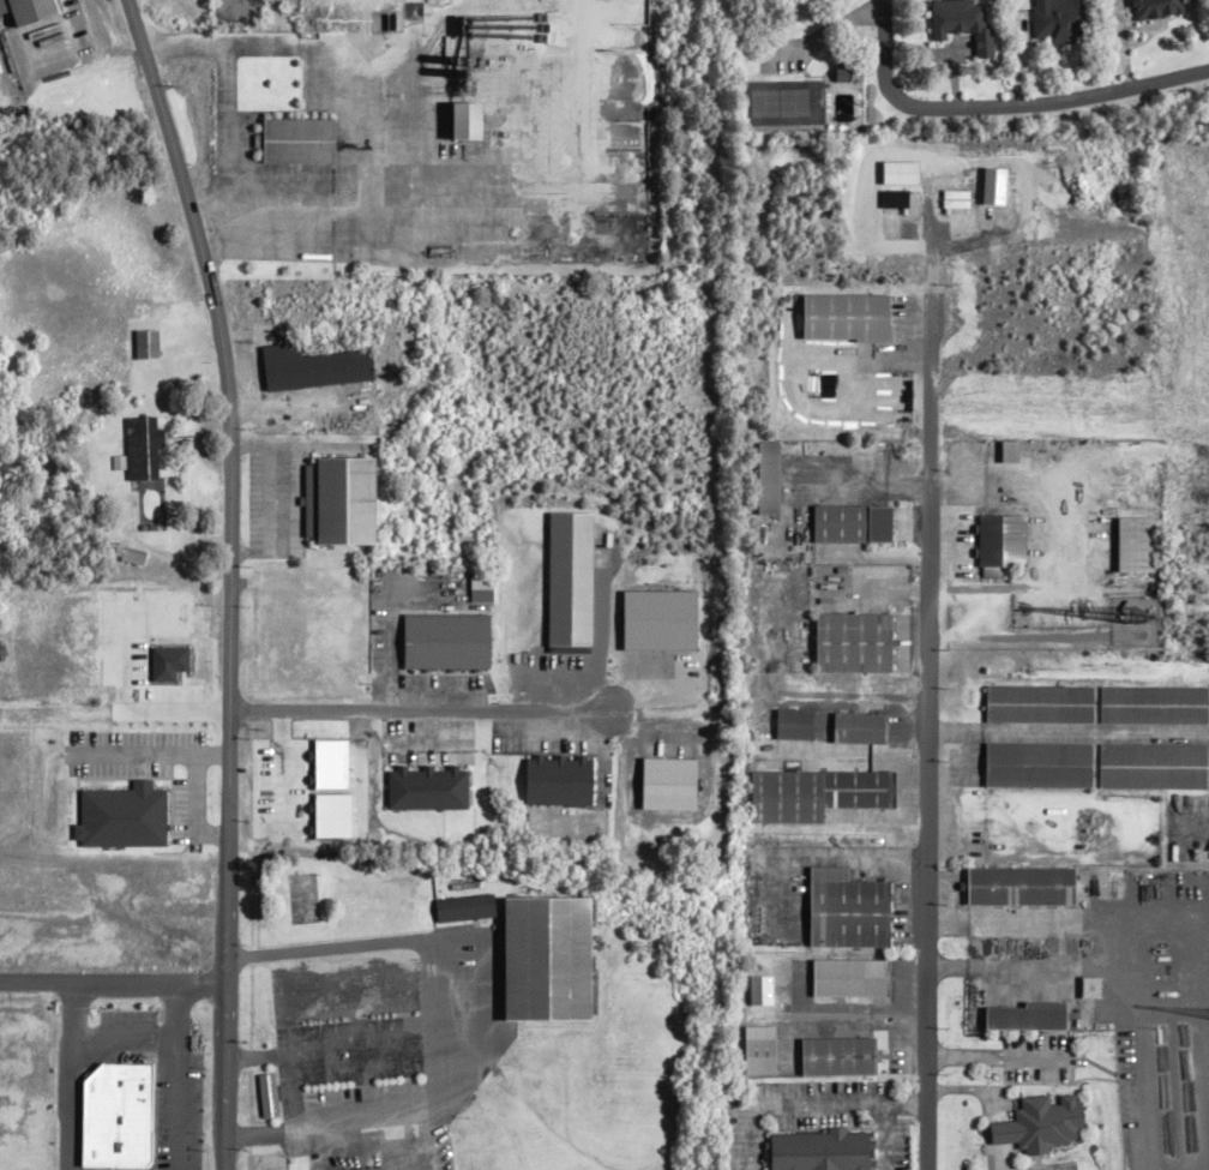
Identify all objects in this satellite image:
building: (1155, 10)
building: (32, 11)
building: (1060, 23)
building: (966, 24)
road: (1003, 104)
building: (471, 122)
building: (301, 142)
building: (846, 319)
building: (148, 344)
building: (317, 368)
building: (139, 450)
building: (1011, 452)
building: (769, 479)
building: (344, 503)
building: (853, 524)
building: (1002, 544)
building: (1137, 546)
road: (228, 578)
building: (569, 580)
building: (660, 620)
building: (446, 642)
building: (855, 644)
road: (416, 702)
road: (120, 703)
building: (1039, 704)
building: (1153, 706)
road: (927, 707)
building: (794, 725)
building: (860, 730)
building: (1039, 766)
building: (1153, 767)
building: (560, 780)
building: (426, 788)
building: (817, 796)
building: (1022, 888)
building: (151, 892)
building: (465, 908)
building: (849, 911)
building: (552, 959)
road: (113, 974)
building: (852, 978)
building: (1029, 1018)
building: (762, 1049)
building: (46, 1056)
building: (842, 1056)
road: (67, 1072)
road: (175, 1072)
building: (269, 1096)
building: (121, 1102)
road: (354, 1109)
building: (1042, 1124)
building: (824, 1151)
building: (372, 1169)

